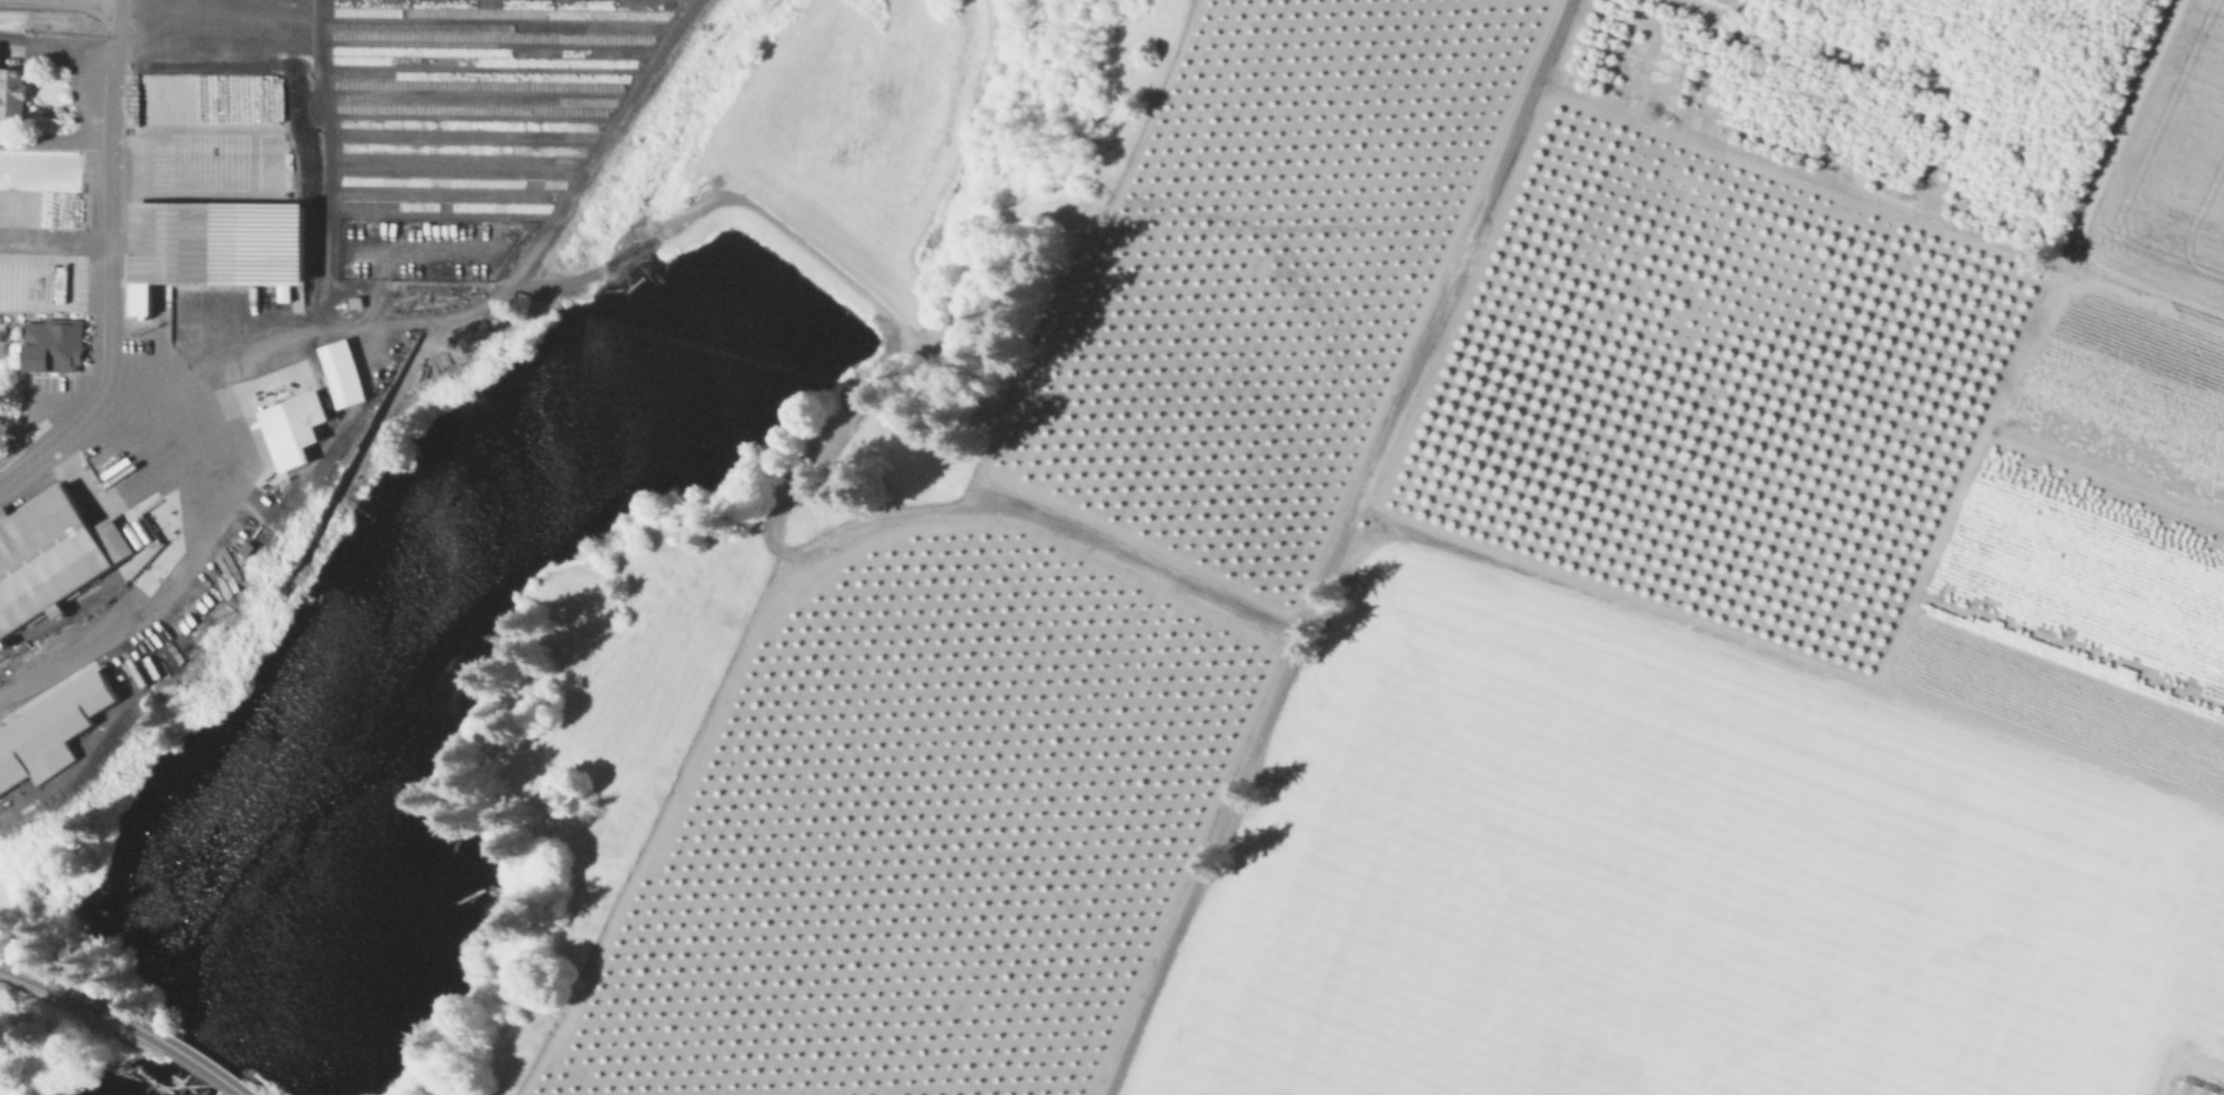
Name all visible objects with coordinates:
road: (115, 1)
building: (13, 97)
building: (214, 249)
road: (111, 270)
dam: (799, 272)
building: (53, 349)
building: (346, 376)
building: (300, 432)
building: (53, 561)
crop: (1527, 600)
building: (54, 734)
road: (78, 999)
road: (200, 1064)
road: (2216, 1078)
building: (2182, 1089)

